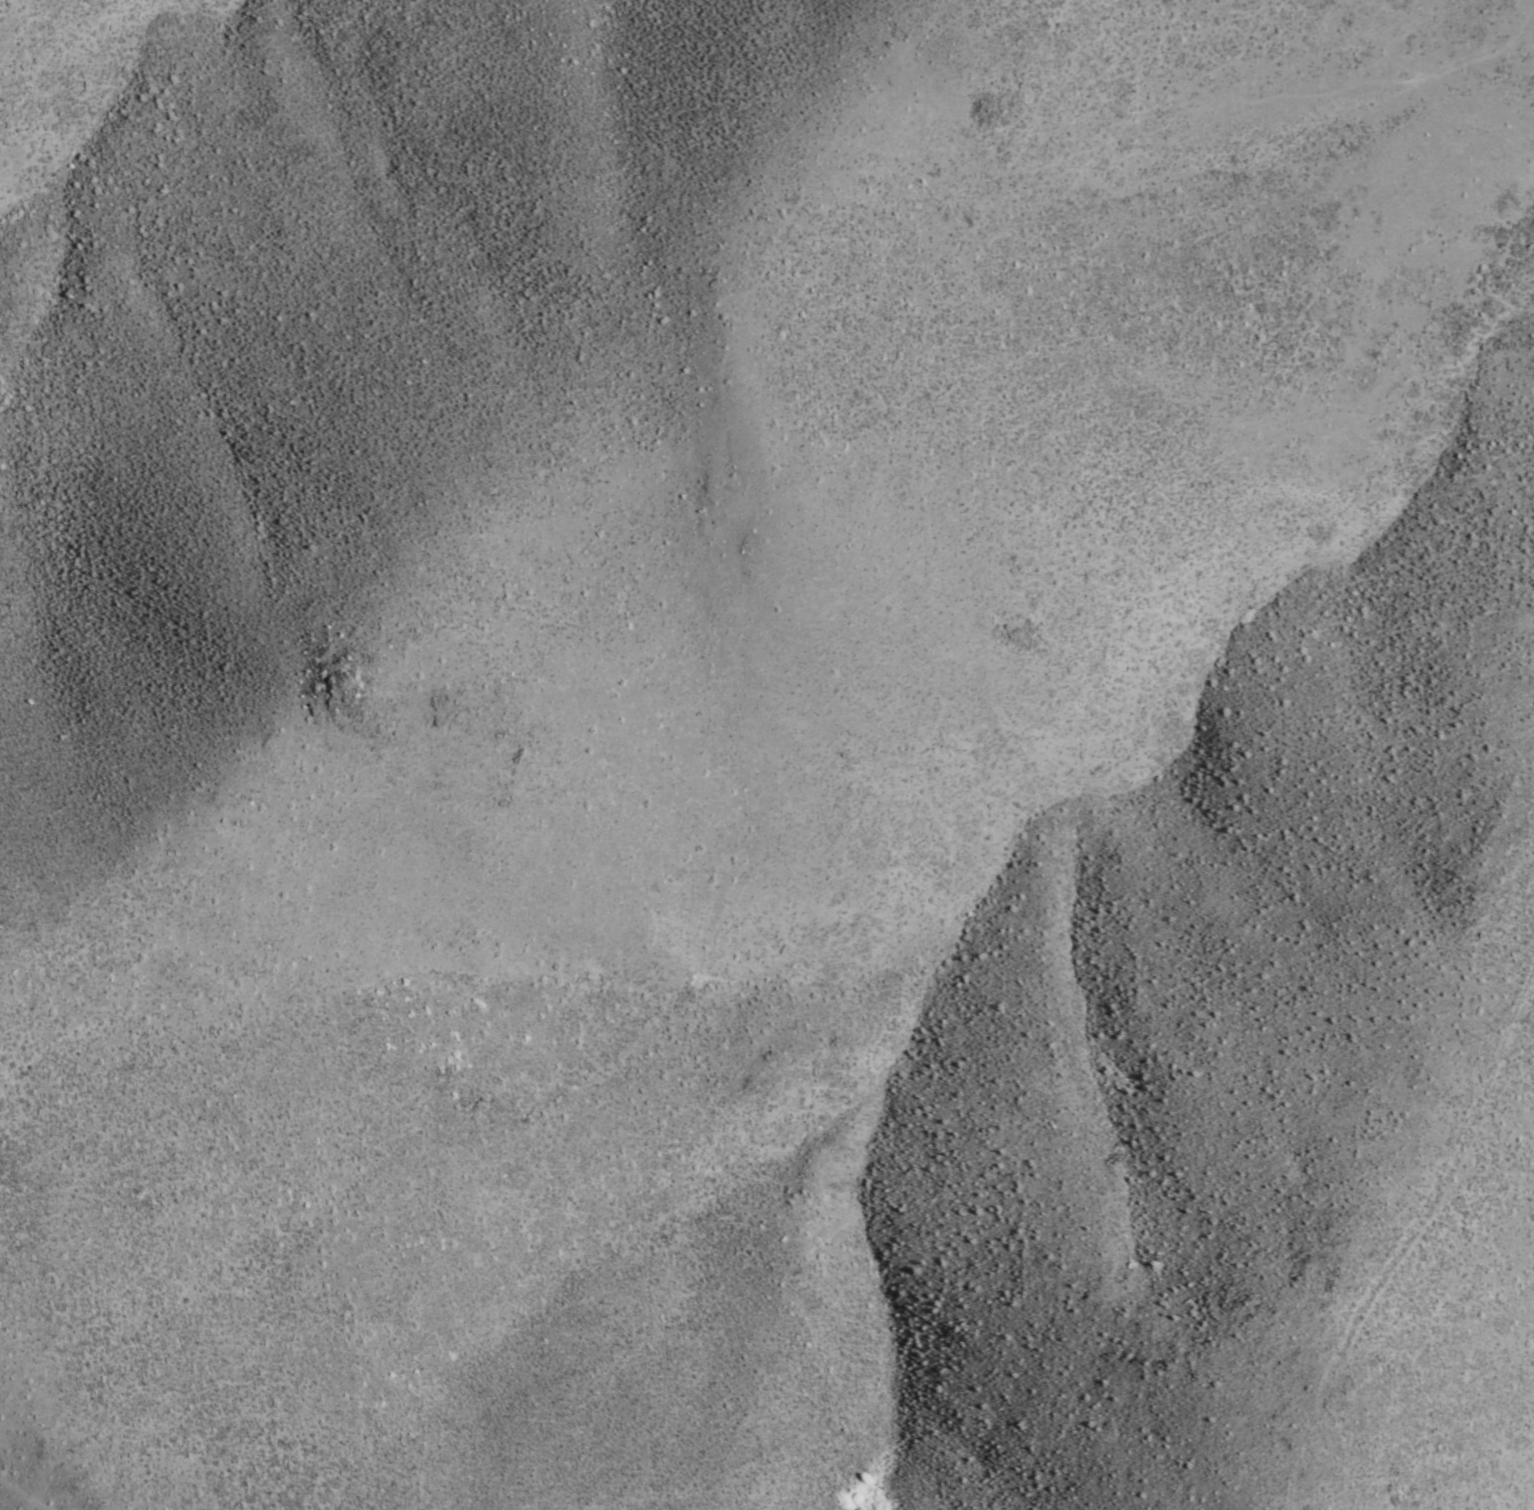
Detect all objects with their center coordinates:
road: (27, 1492)

